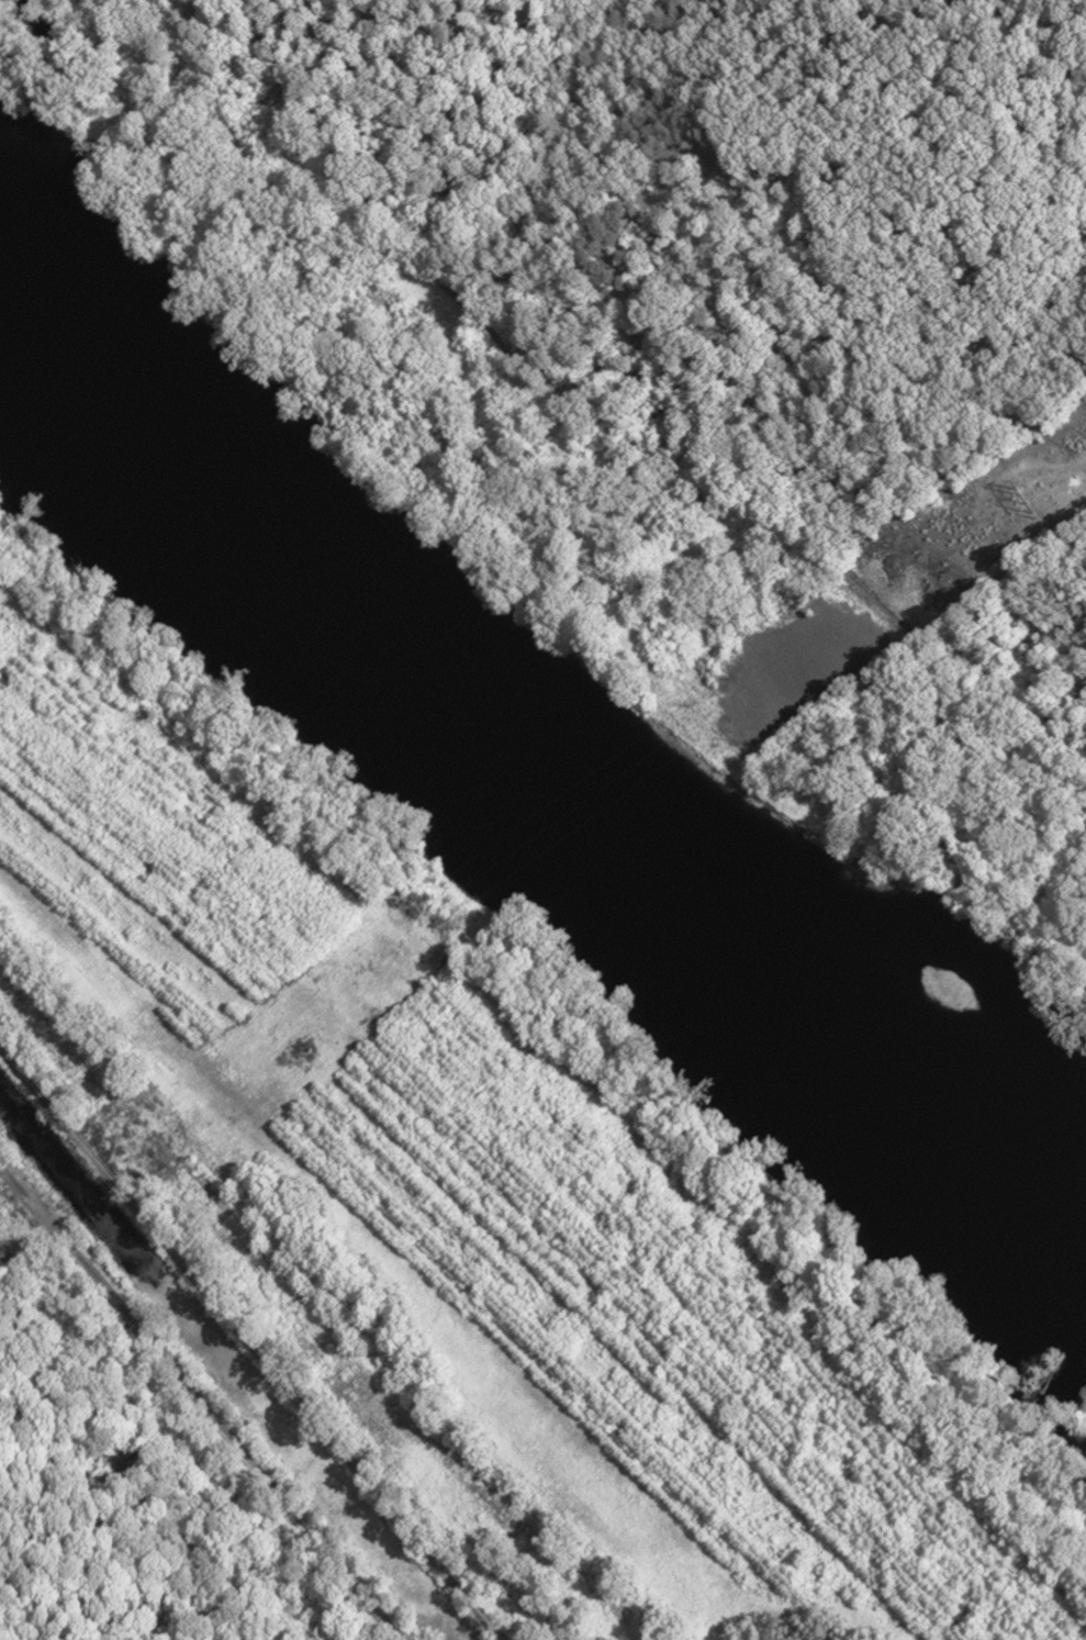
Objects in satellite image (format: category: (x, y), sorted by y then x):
power tower: (1026, 503)
river: (525, 800)
road: (250, 1345)
road: (201, 1404)

